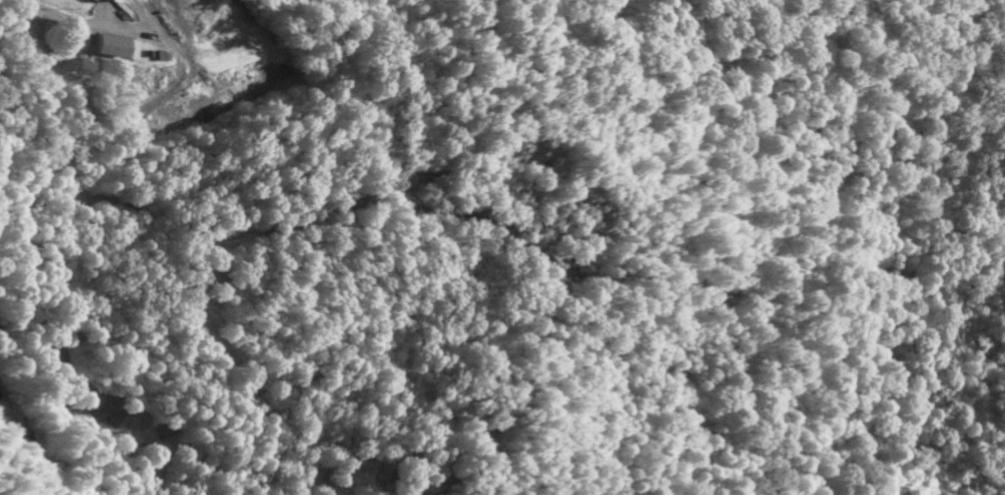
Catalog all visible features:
building: (110, 2)
road: (61, 21)
building: (120, 50)

